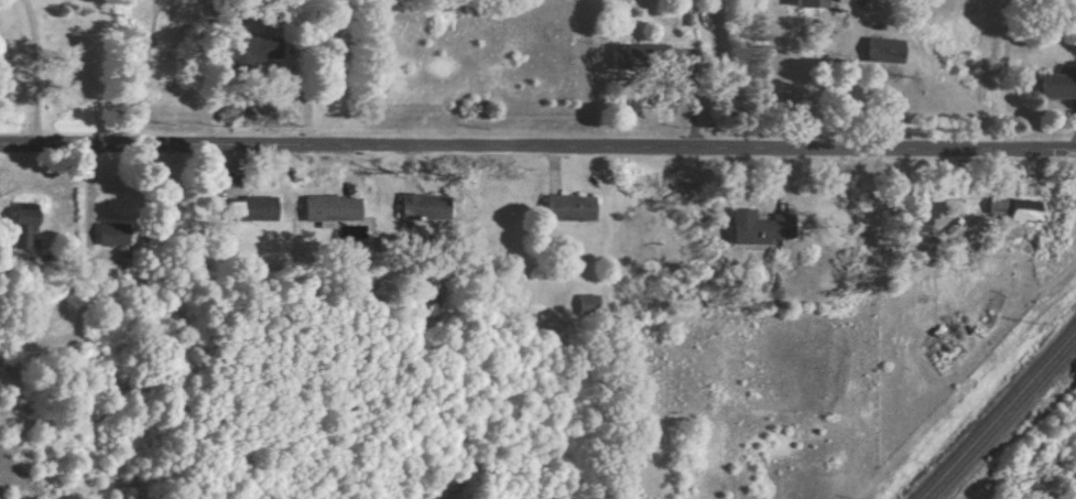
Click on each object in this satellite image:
building: (806, 3)
building: (878, 51)
building: (635, 56)
road: (849, 72)
road: (42, 73)
building: (1056, 87)
road: (537, 144)
road: (90, 205)
building: (416, 208)
building: (566, 208)
building: (249, 209)
building: (329, 210)
building: (1019, 211)
building: (919, 218)
building: (22, 225)
building: (750, 229)
building: (110, 235)
railway: (995, 411)
railway: (1001, 419)

